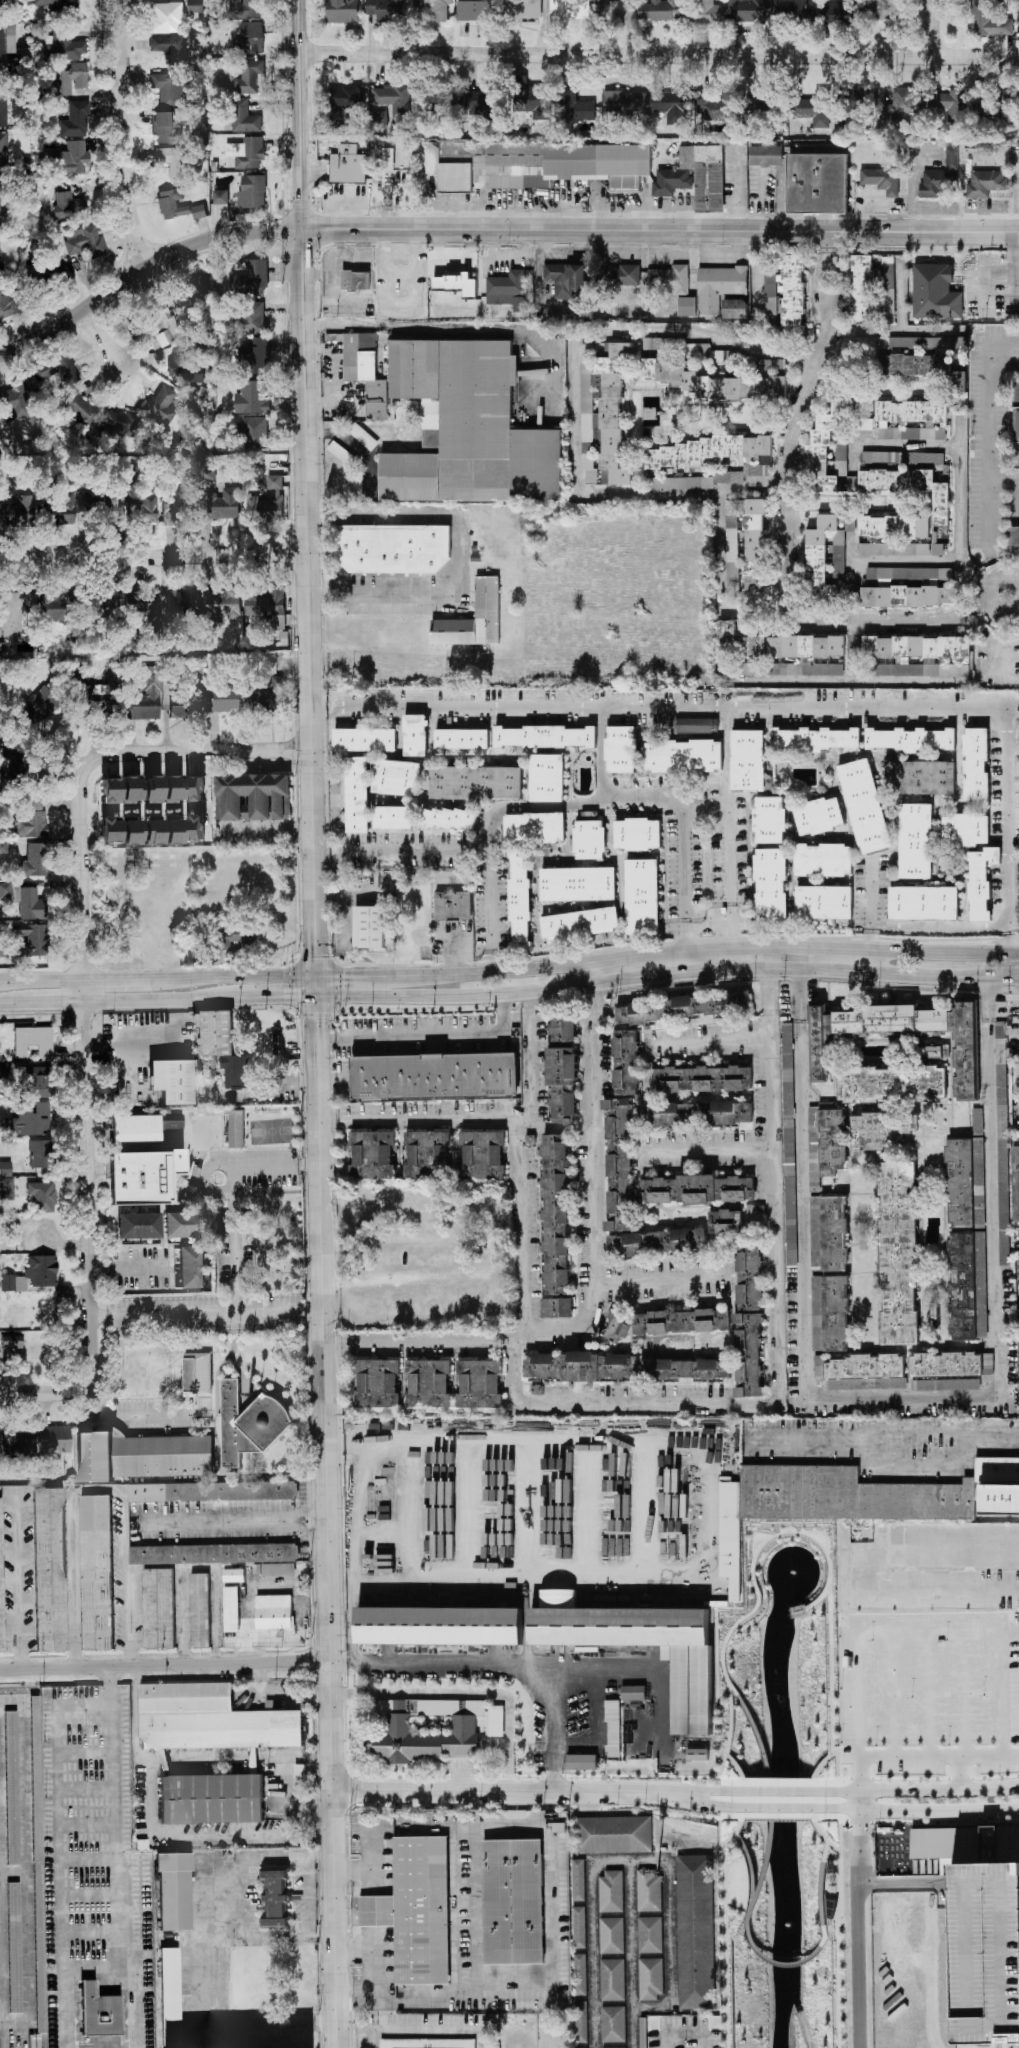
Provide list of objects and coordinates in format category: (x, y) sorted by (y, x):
building: (9, 1)
building: (51, 4)
building: (196, 6)
building: (571, 8)
building: (247, 9)
building: (433, 9)
building: (796, 9)
building: (887, 9)
building: (385, 10)
building: (520, 10)
building: (660, 10)
building: (749, 10)
building: (343, 11)
building: (477, 11)
building: (705, 13)
building: (839, 14)
building: (166, 17)
building: (988, 21)
road: (930, 28)
building: (7, 37)
building: (251, 38)
building: (62, 46)
building: (171, 47)
road: (659, 56)
building: (71, 76)
building: (249, 77)
building: (171, 87)
building: (441, 95)
building: (394, 98)
building: (859, 99)
building: (345, 100)
building: (906, 101)
building: (482, 102)
building: (625, 102)
building: (533, 103)
building: (995, 103)
building: (670, 106)
building: (759, 106)
building: (954, 106)
building: (718, 107)
building: (816, 109)
building: (3, 110)
building: (572, 110)
road: (301, 115)
building: (244, 117)
building: (381, 119)
building: (74, 120)
building: (166, 128)
road: (121, 134)
building: (3, 147)
building: (248, 153)
building: (765, 156)
building: (70, 157)
building: (983, 159)
building: (176, 161)
building: (534, 165)
building: (348, 166)
building: (941, 178)
building: (695, 179)
building: (881, 180)
building: (816, 183)
building: (986, 183)
building: (252, 191)
road: (736, 194)
building: (221, 197)
road: (779, 204)
building: (68, 205)
road: (877, 206)
building: (173, 208)
building: (4, 216)
road: (661, 235)
building: (83, 241)
building: (0, 262)
road: (142, 269)
road: (1014, 271)
building: (252, 274)
road: (986, 274)
building: (566, 280)
road: (821, 280)
building: (668, 281)
building: (354, 282)
building: (457, 283)
building: (719, 288)
building: (888, 289)
building: (863, 290)
building: (936, 292)
building: (787, 294)
building: (188, 296)
building: (5, 302)
road: (401, 303)
building: (686, 306)
building: (735, 309)
building: (250, 319)
building: (159, 321)
road: (465, 329)
road: (897, 330)
road: (104, 338)
building: (255, 355)
building: (917, 355)
building: (771, 365)
building: (56, 369)
building: (185, 371)
road: (1003, 372)
building: (366, 374)
road: (335, 375)
building: (958, 382)
building: (714, 383)
road: (573, 388)
road: (306, 396)
building: (252, 398)
building: (13, 403)
building: (160, 404)
building: (602, 414)
building: (649, 414)
building: (912, 420)
building: (120, 421)
building: (1016, 421)
building: (862, 424)
building: (465, 429)
building: (252, 433)
road: (892, 445)
building: (829, 448)
road: (987, 448)
building: (343, 455)
building: (710, 457)
building: (127, 475)
building: (908, 479)
road: (1003, 482)
building: (356, 483)
building: (679, 483)
road: (958, 487)
building: (267, 503)
building: (107, 504)
building: (224, 505)
building: (177, 506)
building: (143, 509)
building: (16, 510)
road: (787, 518)
building: (894, 527)
building: (1013, 537)
building: (752, 541)
building: (393, 549)
building: (894, 549)
road: (723, 554)
building: (732, 555)
road: (852, 556)
building: (825, 557)
road: (905, 560)
road: (277, 562)
road: (122, 563)
road: (1016, 572)
road: (972, 573)
building: (909, 588)
road: (380, 591)
road: (986, 598)
building: (183, 602)
building: (144, 604)
building: (225, 604)
building: (262, 604)
building: (98, 605)
building: (58, 608)
building: (13, 611)
building: (472, 619)
building: (280, 628)
building: (742, 640)
building: (806, 647)
road: (856, 652)
building: (917, 656)
road: (311, 658)
building: (752, 669)
building: (804, 669)
road: (830, 681)
building: (267, 695)
building: (99, 698)
building: (225, 699)
building: (144, 700)
building: (184, 706)
road: (782, 706)
building: (38, 707)
building: (697, 726)
building: (416, 735)
building: (545, 737)
building: (462, 739)
building: (816, 739)
building: (911, 739)
building: (365, 740)
building: (621, 750)
building: (683, 756)
road: (190, 757)
building: (749, 762)
building: (976, 767)
building: (921, 777)
building: (401, 778)
building: (547, 778)
building: (476, 783)
building: (358, 786)
building: (152, 789)
road: (607, 791)
building: (253, 797)
road: (314, 804)
building: (865, 806)
road: (533, 807)
road: (146, 810)
building: (31, 816)
building: (820, 816)
building: (393, 818)
road: (704, 818)
building: (448, 819)
building: (770, 820)
building: (535, 827)
building: (183, 830)
building: (966, 830)
building: (132, 831)
building: (638, 834)
building: (590, 840)
building: (915, 841)
building: (3, 846)
road: (404, 853)
building: (35, 860)
building: (824, 860)
building: (981, 882)
building: (578, 884)
building: (771, 886)
building: (642, 896)
building: (24, 899)
building: (520, 900)
building: (824, 902)
building: (924, 903)
building: (453, 906)
road: (493, 912)
road: (871, 912)
building: (580, 923)
building: (369, 927)
building: (31, 939)
building: (231, 944)
traffic signals: (317, 951)
road: (943, 952)
road: (732, 958)
road: (494, 972)
traffic signals: (346, 977)
road: (354, 977)
road: (234, 978)
road: (117, 979)
road: (942, 979)
road: (41, 980)
road: (459, 996)
road: (160, 1001)
road: (277, 1001)
traffic signals: (295, 1001)
road: (58, 1002)
road: (16, 1003)
building: (682, 1008)
traffic signals: (318, 1019)
building: (867, 1027)
building: (562, 1031)
building: (215, 1032)
road: (428, 1036)
building: (32, 1041)
road: (709, 1041)
building: (931, 1052)
building: (965, 1053)
building: (625, 1063)
building: (4, 1070)
road: (85, 1070)
building: (235, 1071)
building: (432, 1076)
building: (698, 1079)
building: (172, 1080)
building: (37, 1081)
building: (892, 1083)
building: (563, 1085)
building: (695, 1113)
road: (457, 1115)
building: (29, 1119)
building: (171, 1121)
building: (977, 1121)
building: (236, 1129)
building: (881, 1129)
building: (825, 1143)
building: (1002, 1143)
building: (789, 1144)
road: (712, 1145)
building: (40, 1153)
building: (372, 1155)
building: (483, 1155)
building: (141, 1161)
road: (309, 1165)
building: (619, 1165)
building: (5, 1168)
building: (964, 1180)
building: (1016, 1182)
road: (995, 1188)
building: (699, 1189)
building: (41, 1196)
road: (235, 1202)
building: (755, 1210)
building: (555, 1215)
building: (725, 1222)
building: (185, 1224)
building: (138, 1225)
building: (829, 1234)
building: (39, 1236)
building: (657, 1243)
building: (898, 1253)
road: (492, 1260)
building: (192, 1267)
road: (666, 1268)
road: (811, 1268)
building: (32, 1274)
building: (748, 1278)
road: (594, 1286)
building: (967, 1286)
road: (312, 1308)
building: (557, 1308)
road: (203, 1311)
building: (830, 1313)
road: (100, 1314)
building: (681, 1322)
building: (616, 1325)
building: (11, 1341)
building: (748, 1355)
building: (950, 1364)
building: (579, 1366)
building: (685, 1370)
building: (864, 1372)
building: (197, 1373)
building: (377, 1383)
building: (429, 1384)
building: (480, 1384)
road: (87, 1385)
building: (946, 1385)
road: (111, 1392)
road: (59, 1394)
road: (96, 1394)
road: (731, 1400)
building: (250, 1424)
road: (883, 1432)
building: (54, 1438)
road: (413, 1444)
building: (16, 1445)
road: (326, 1451)
building: (141, 1456)
road: (916, 1464)
building: (510, 1489)
building: (213, 1491)
road: (8, 1492)
building: (859, 1494)
building: (998, 1501)
road: (661, 1508)
road: (593, 1509)
road: (283, 1521)
road: (533, 1521)
road: (213, 1522)
building: (730, 1537)
building: (221, 1556)
road: (443, 1563)
building: (49, 1569)
building: (96, 1572)
building: (233, 1575)
road: (75, 1578)
road: (18, 1580)
road: (258, 1585)
building: (1, 1587)
road: (470, 1599)
building: (158, 1609)
building: (230, 1609)
building: (199, 1611)
building: (273, 1612)
road: (749, 1613)
road: (132, 1620)
building: (436, 1626)
road: (348, 1663)
road: (165, 1666)
building: (690, 1689)
road: (466, 1692)
building: (211, 1720)
building: (495, 1722)
road: (554, 1730)
road: (726, 1734)
building: (422, 1743)
building: (613, 1743)
road: (915, 1753)
building: (697, 1754)
road: (190, 1759)
road: (723, 1766)
road: (837, 1767)
road: (958, 1771)
building: (299, 1776)
building: (11, 1787)
road: (922, 1790)
road: (512, 1792)
road: (778, 1792)
road: (710, 1794)
building: (211, 1800)
road: (710, 1802)
road: (778, 1806)
road: (922, 1809)
road: (467, 1820)
road: (733, 1833)
building: (612, 1835)
road: (188, 1838)
road: (826, 1840)
road: (60, 1853)
road: (35, 1857)
road: (115, 1858)
building: (37, 1859)
road: (748, 1863)
building: (173, 1890)
road: (239, 1894)
road: (310, 1897)
building: (275, 1899)
building: (512, 1902)
road: (371, 1905)
road: (820, 1909)
building: (416, 1912)
road: (858, 1928)
building: (695, 1933)
road: (724, 1933)
road: (931, 1934)
building: (649, 1935)
road: (839, 1937)
building: (14, 1946)
building: (988, 1952)
parking garage: (988, 1952)
building: (579, 1954)
building: (612, 1960)
road: (782, 1964)
road: (535, 1993)
building: (170, 1995)
building: (99, 2013)
road: (427, 2025)
building: (428, 2043)

